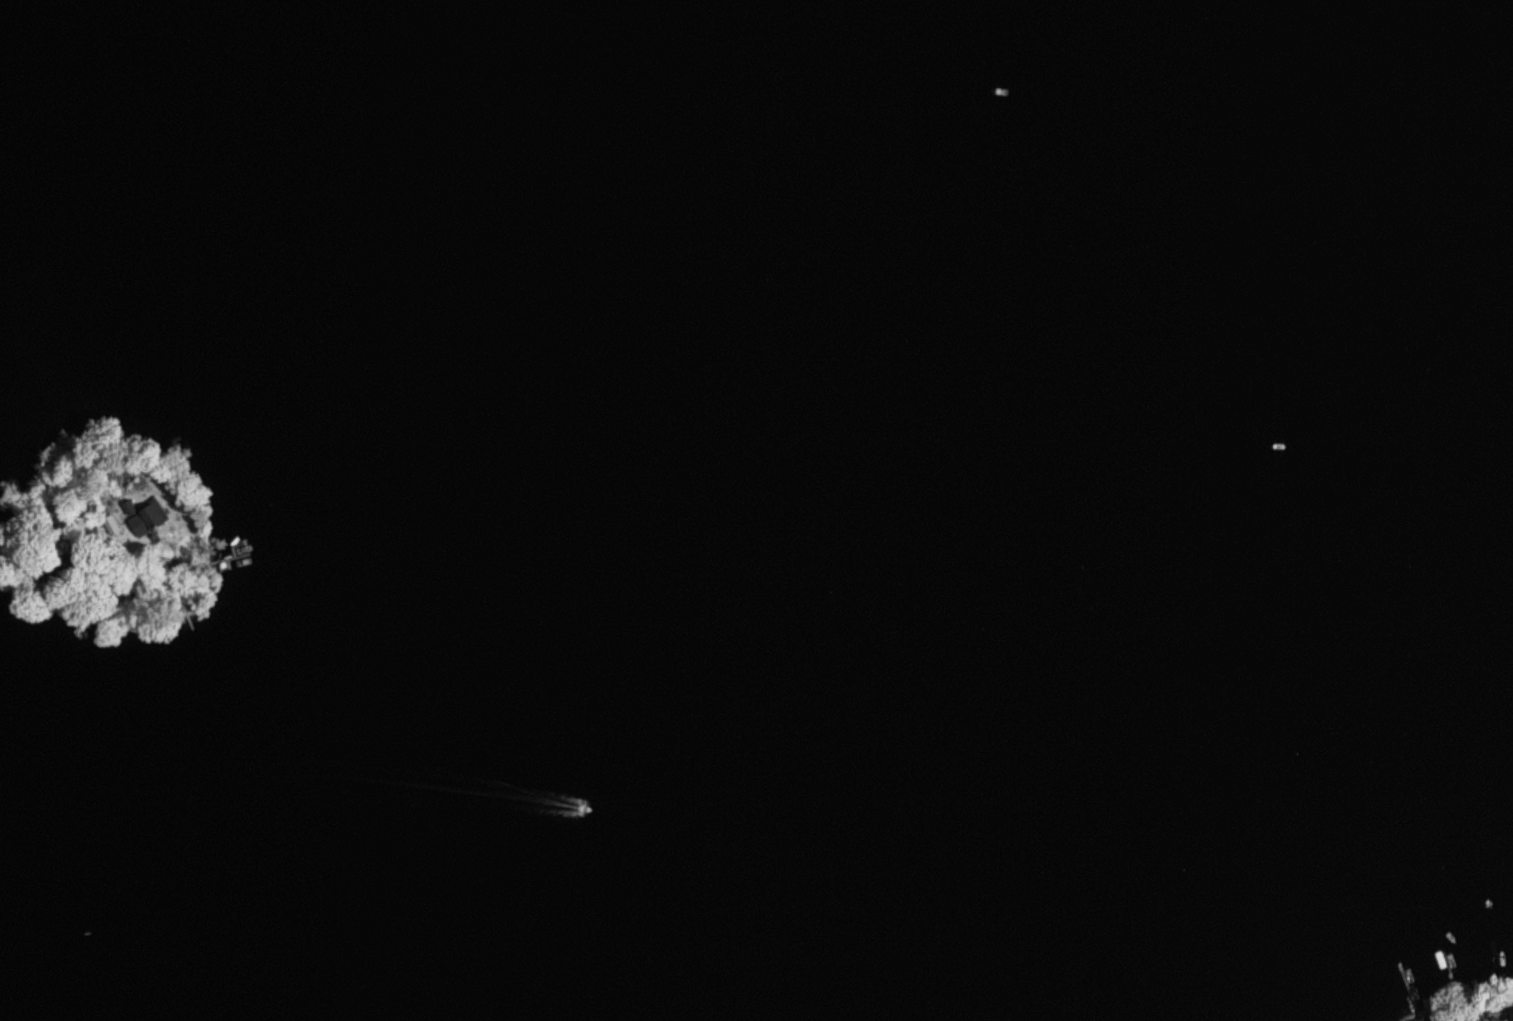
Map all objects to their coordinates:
building: (1425, 1018)

